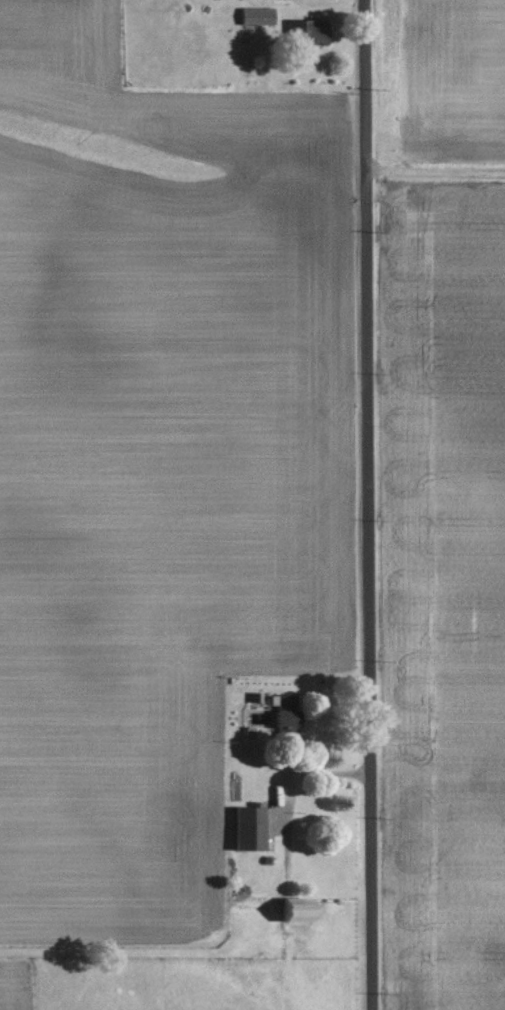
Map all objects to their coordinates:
building: (255, 16)
building: (306, 33)
road: (435, 169)
road: (367, 505)
building: (284, 715)
building: (246, 827)
building: (291, 910)

